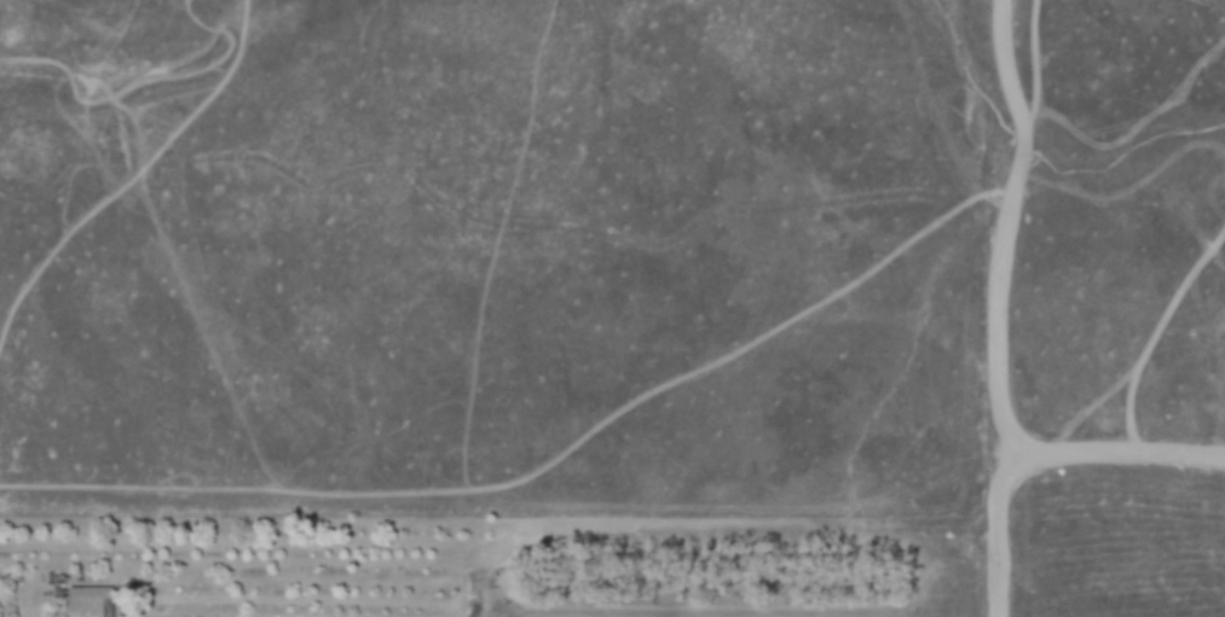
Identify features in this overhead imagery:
building: (92, 603)

